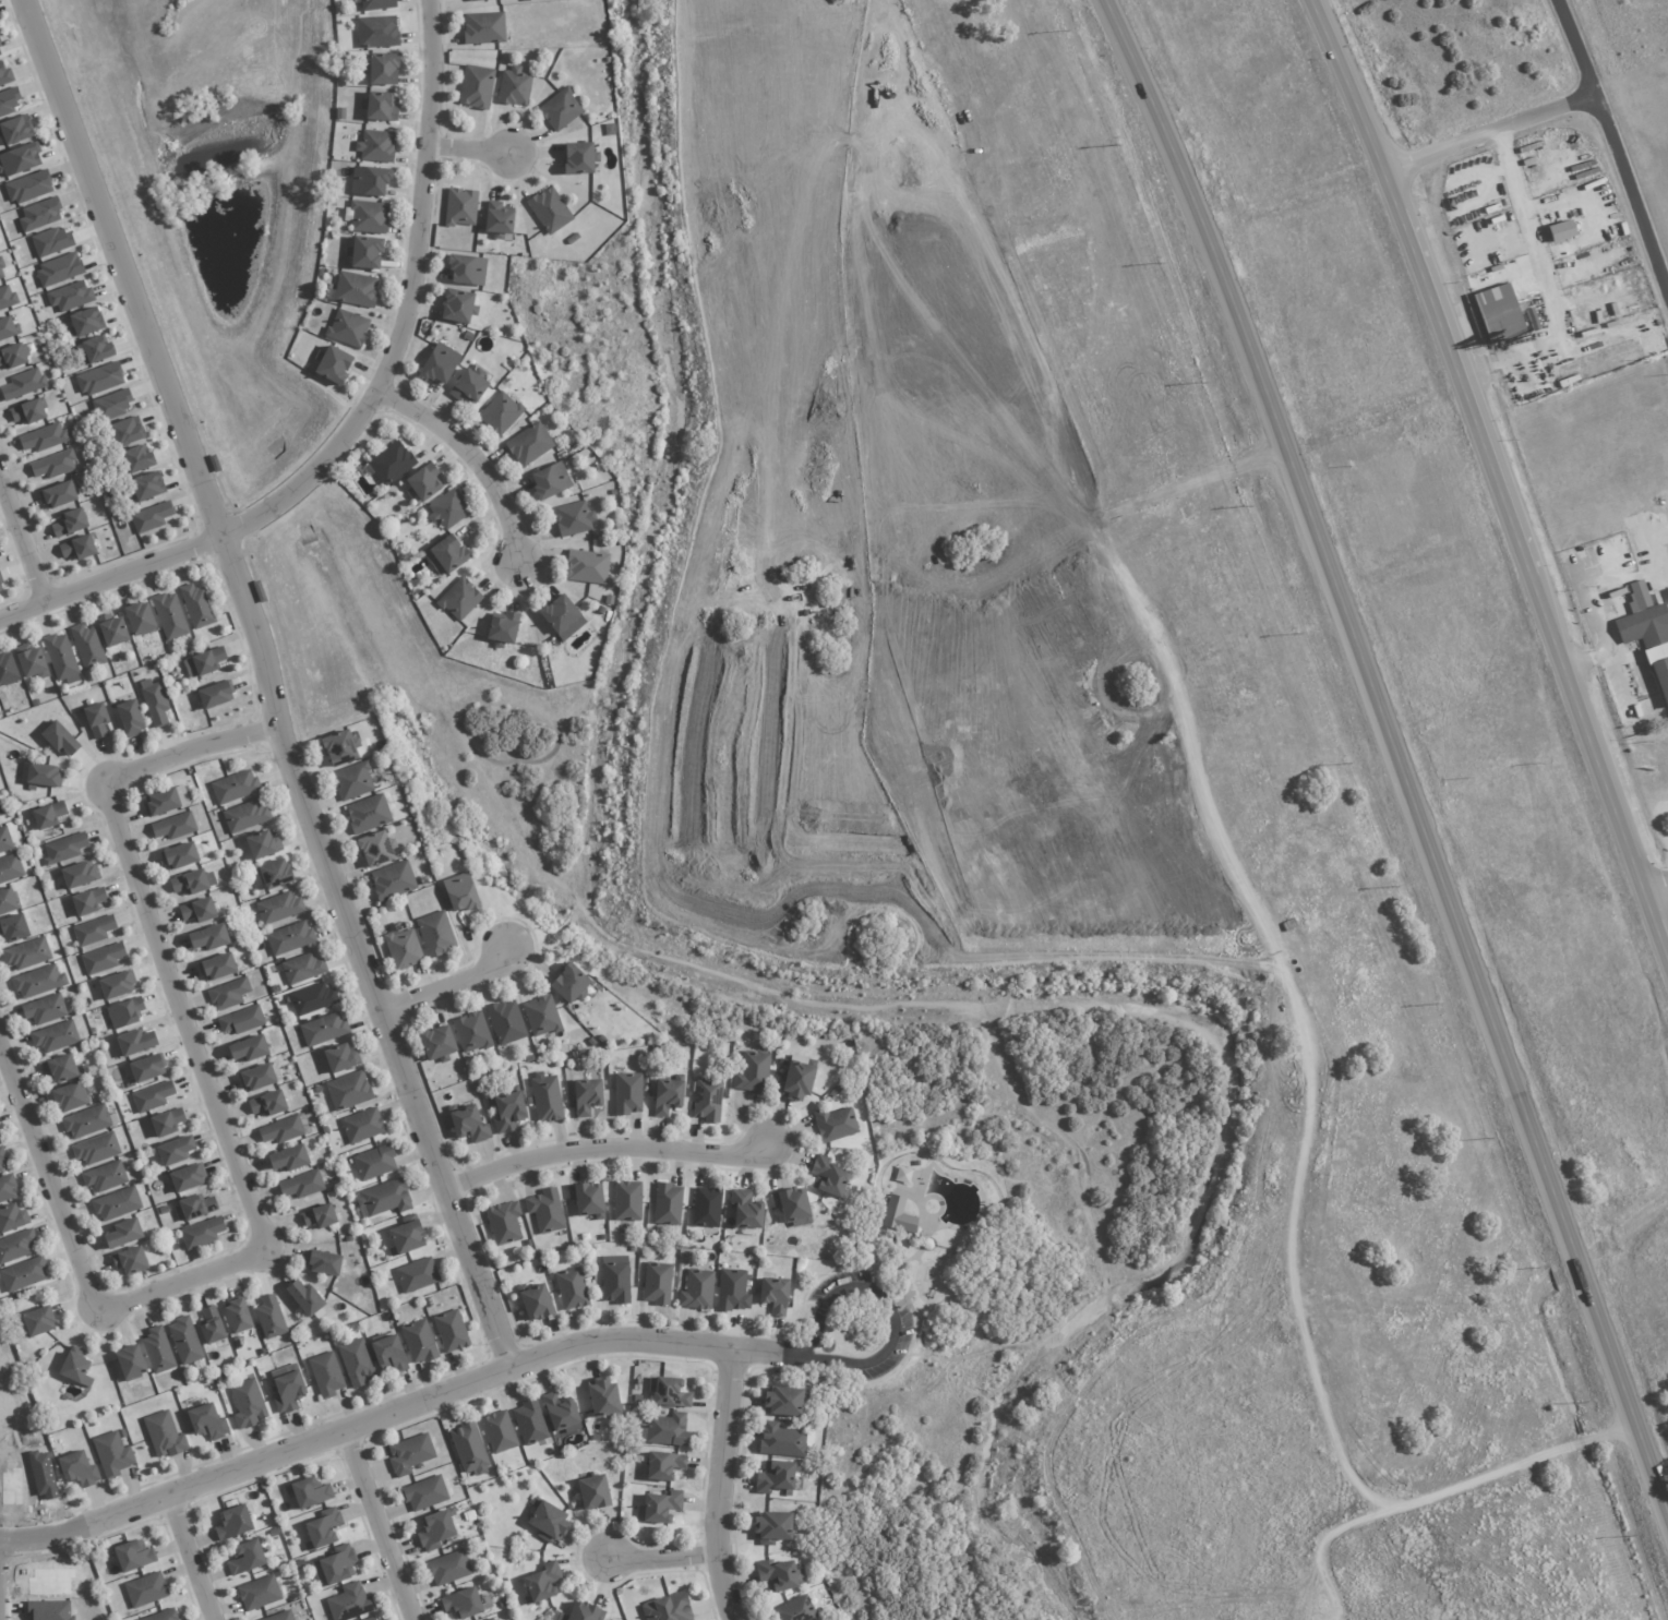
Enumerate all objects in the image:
building: (472, 0)
building: (375, 4)
building: (483, 27)
building: (376, 32)
building: (0, 53)
building: (381, 68)
building: (5, 75)
building: (476, 86)
building: (514, 86)
building: (9, 101)
building: (379, 106)
building: (560, 109)
building: (15, 130)
road: (1490, 133)
building: (375, 146)
road: (1613, 146)
road: (472, 152)
building: (578, 158)
building: (19, 159)
building: (369, 181)
building: (27, 187)
building: (1491, 206)
building: (459, 207)
building: (549, 211)
building: (39, 214)
building: (367, 216)
building: (1497, 217)
building: (497, 219)
building: (1567, 226)
building: (51, 241)
building: (365, 252)
building: (59, 269)
building: (466, 269)
building: (1, 272)
road: (1550, 281)
building: (355, 289)
building: (7, 297)
building: (70, 297)
building: (457, 305)
building: (1498, 311)
building: (84, 322)
building: (8, 327)
building: (347, 327)
building: (97, 349)
building: (12, 356)
building: (439, 363)
building: (332, 364)
building: (98, 379)
building: (23, 384)
building: (468, 386)
building: (111, 405)
building: (27, 412)
road: (361, 413)
building: (500, 413)
building: (125, 431)
building: (43, 437)
building: (529, 444)
building: (136, 458)
road: (473, 459)
building: (391, 463)
building: (52, 465)
road: (1495, 480)
building: (549, 481)
building: (423, 482)
building: (146, 487)
building: (59, 494)
building: (447, 509)
building: (151, 517)
building: (573, 518)
building: (69, 523)
road: (22, 541)
building: (77, 548)
building: (446, 555)
building: (587, 566)
building: (0, 590)
building: (1667, 591)
building: (459, 599)
building: (196, 605)
building: (559, 613)
building: (169, 615)
building: (139, 617)
building: (1642, 619)
building: (502, 628)
building: (111, 631)
building: (87, 647)
building: (60, 658)
building: (31, 661)
building: (203, 662)
building: (8, 669)
building: (1660, 679)
road: (266, 683)
building: (214, 695)
building: (154, 701)
building: (129, 718)
building: (96, 719)
building: (59, 739)
building: (339, 747)
road: (1393, 758)
building: (38, 775)
building: (351, 781)
building: (233, 787)
building: (160, 802)
building: (368, 814)
building: (48, 815)
building: (244, 816)
building: (173, 826)
building: (4, 840)
building: (262, 844)
building: (64, 848)
building: (375, 849)
building: (179, 856)
building: (10, 868)
building: (274, 874)
building: (77, 875)
building: (392, 880)
building: (193, 881)
road: (1655, 885)
building: (459, 892)
building: (7, 901)
building: (87, 901)
building: (278, 908)
building: (197, 911)
building: (13, 928)
building: (93, 931)
building: (434, 934)
building: (208, 937)
building: (289, 938)
building: (401, 948)
building: (26, 953)
building: (103, 958)
building: (216, 967)
building: (302, 968)
building: (38, 982)
building: (568, 984)
building: (115, 985)
road: (448, 985)
building: (228, 994)
building: (312, 999)
building: (44, 1009)
building: (124, 1012)
building: (541, 1016)
building: (241, 1020)
building: (505, 1022)
building: (323, 1029)
building: (471, 1032)
road: (1304, 1033)
building: (55, 1036)
building: (135, 1042)
building: (436, 1042)
building: (248, 1048)
building: (340, 1058)
building: (59, 1068)
building: (145, 1068)
building: (752, 1072)
building: (256, 1078)
building: (795, 1082)
building: (348, 1091)
building: (627, 1093)
building: (667, 1095)
building: (152, 1096)
building: (586, 1096)
building: (68, 1097)
building: (545, 1097)
building: (708, 1100)
building: (267, 1104)
building: (507, 1111)
building: (86, 1121)
building: (166, 1123)
building: (468, 1124)
building: (835, 1124)
building: (361, 1126)
building: (280, 1130)
building: (96, 1149)
building: (175, 1150)
road: (602, 1152)
road: (230, 1153)
building: (2, 1154)
building: (288, 1159)
building: (373, 1162)
building: (0, 1168)
building: (105, 1176)
building: (185, 1178)
building: (301, 1185)
building: (7, 1187)
building: (384, 1198)
building: (587, 1199)
building: (627, 1201)
building: (116, 1204)
building: (668, 1204)
building: (706, 1207)
building: (791, 1207)
building: (193, 1208)
building: (745, 1210)
building: (545, 1211)
building: (897, 1215)
building: (317, 1216)
building: (12, 1217)
building: (503, 1223)
building: (123, 1233)
building: (201, 1233)
building: (406, 1235)
building: (16, 1246)
building: (130, 1261)
building: (323, 1262)
building: (23, 1274)
building: (416, 1275)
building: (615, 1279)
building: (657, 1283)
building: (571, 1288)
building: (697, 1289)
building: (732, 1291)
building: (773, 1295)
building: (304, 1298)
building: (536, 1303)
road: (889, 1306)
building: (237, 1315)
building: (269, 1318)
building: (37, 1321)
building: (211, 1325)
parking lot: (899, 1330)
building: (451, 1331)
building: (184, 1341)
building: (418, 1342)
building: (157, 1351)
building: (387, 1354)
road: (789, 1355)
building: (356, 1361)
building: (130, 1363)
building: (75, 1367)
building: (325, 1375)
building: (287, 1388)
building: (668, 1392)
building: (602, 1397)
building: (783, 1401)
building: (248, 1404)
building: (561, 1413)
road: (386, 1416)
building: (207, 1421)
building: (529, 1423)
building: (665, 1429)
building: (499, 1431)
building: (164, 1435)
building: (781, 1440)
building: (468, 1450)
building: (111, 1454)
building: (409, 1454)
building: (663, 1465)
building: (77, 1469)
building: (776, 1476)
road: (720, 1486)
building: (309, 1492)
building: (593, 1492)
building: (424, 1493)
building: (659, 1507)
building: (547, 1522)
building: (232, 1523)
road: (379, 1526)
building: (323, 1527)
building: (771, 1528)
building: (435, 1529)
road: (1325, 1541)
building: (133, 1556)
road: (662, 1557)
road: (190, 1558)
building: (245, 1558)
building: (335, 1565)
building: (448, 1568)
building: (779, 1575)
building: (49, 1582)
building: (541, 1583)
building: (145, 1589)
building: (259, 1593)
building: (348, 1603)
building: (465, 1603)
building: (665, 1608)
building: (49, 1610)
building: (795, 1610)
building: (584, 1612)
building: (161, 1616)
building: (280, 1616)
building: (373, 1619)
building: (490, 1619)

